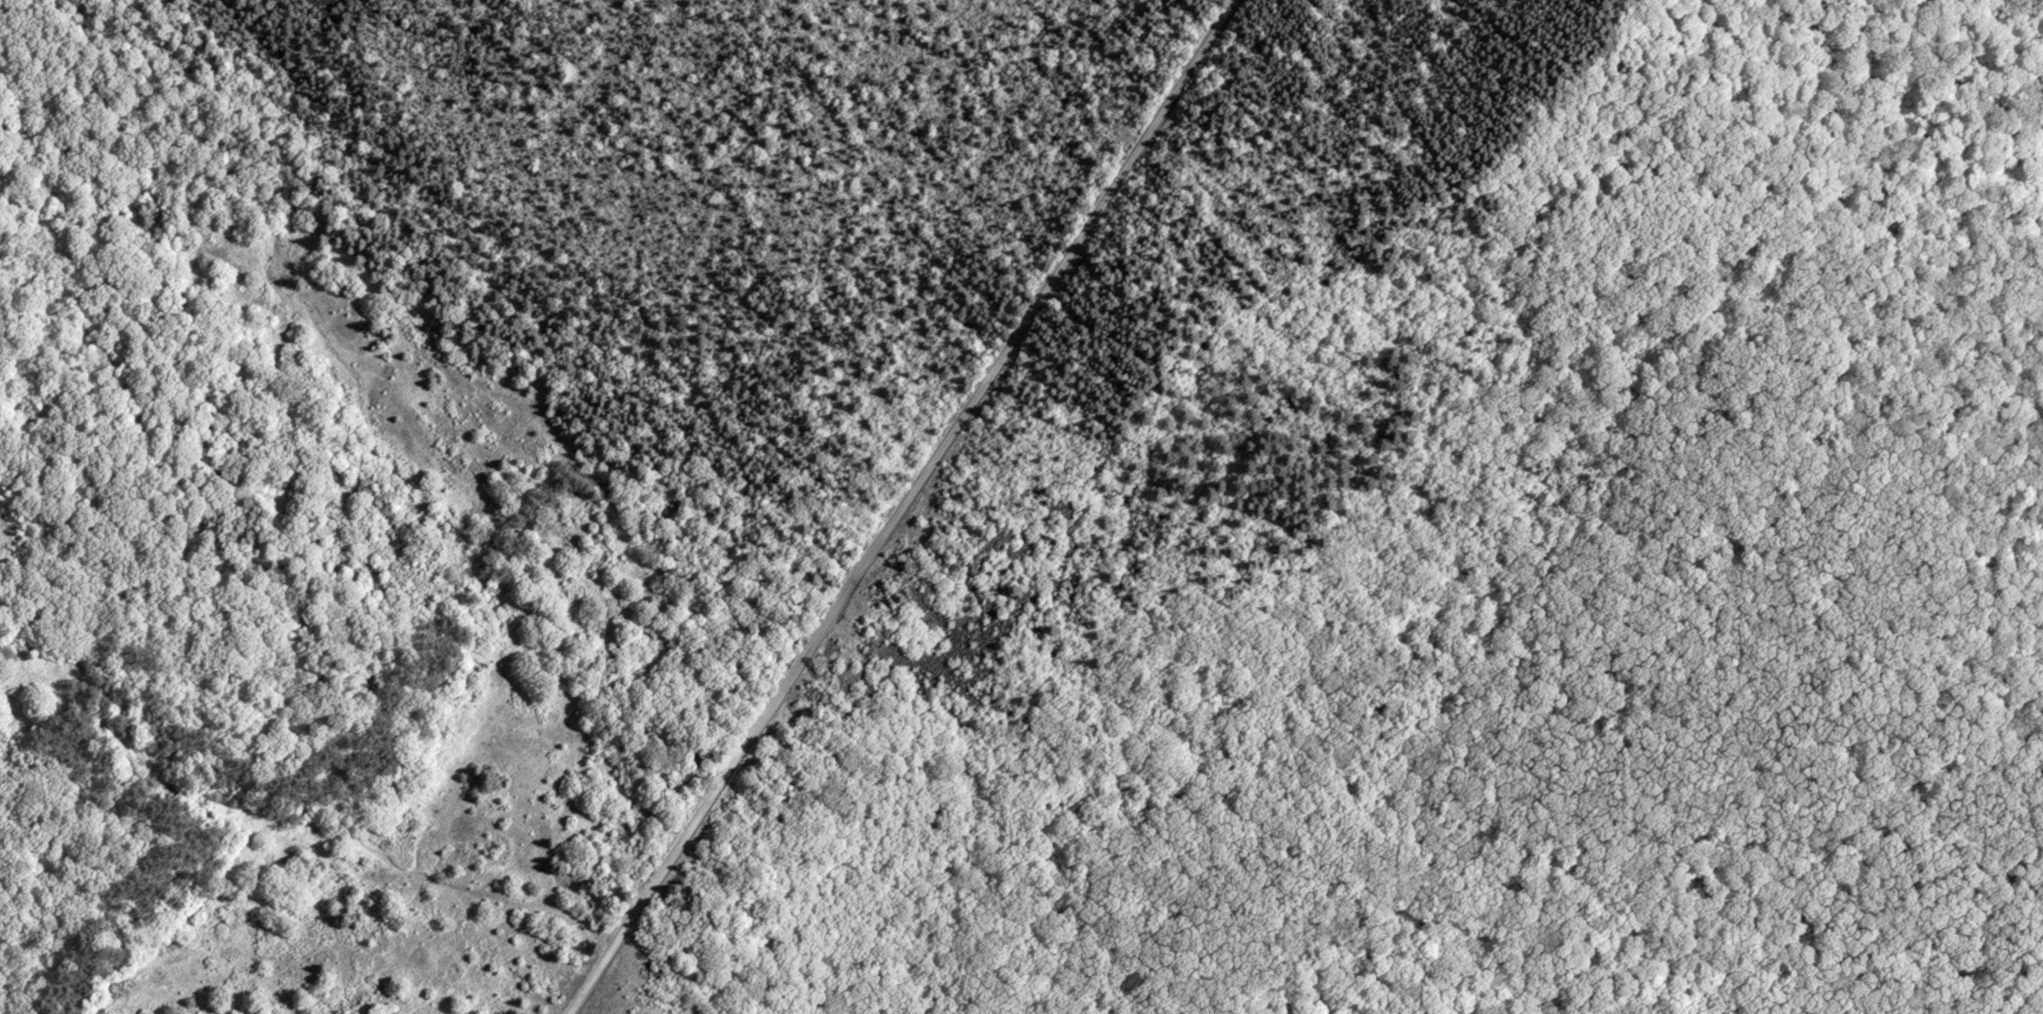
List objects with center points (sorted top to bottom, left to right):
road: (903, 507)
road: (299, 830)

